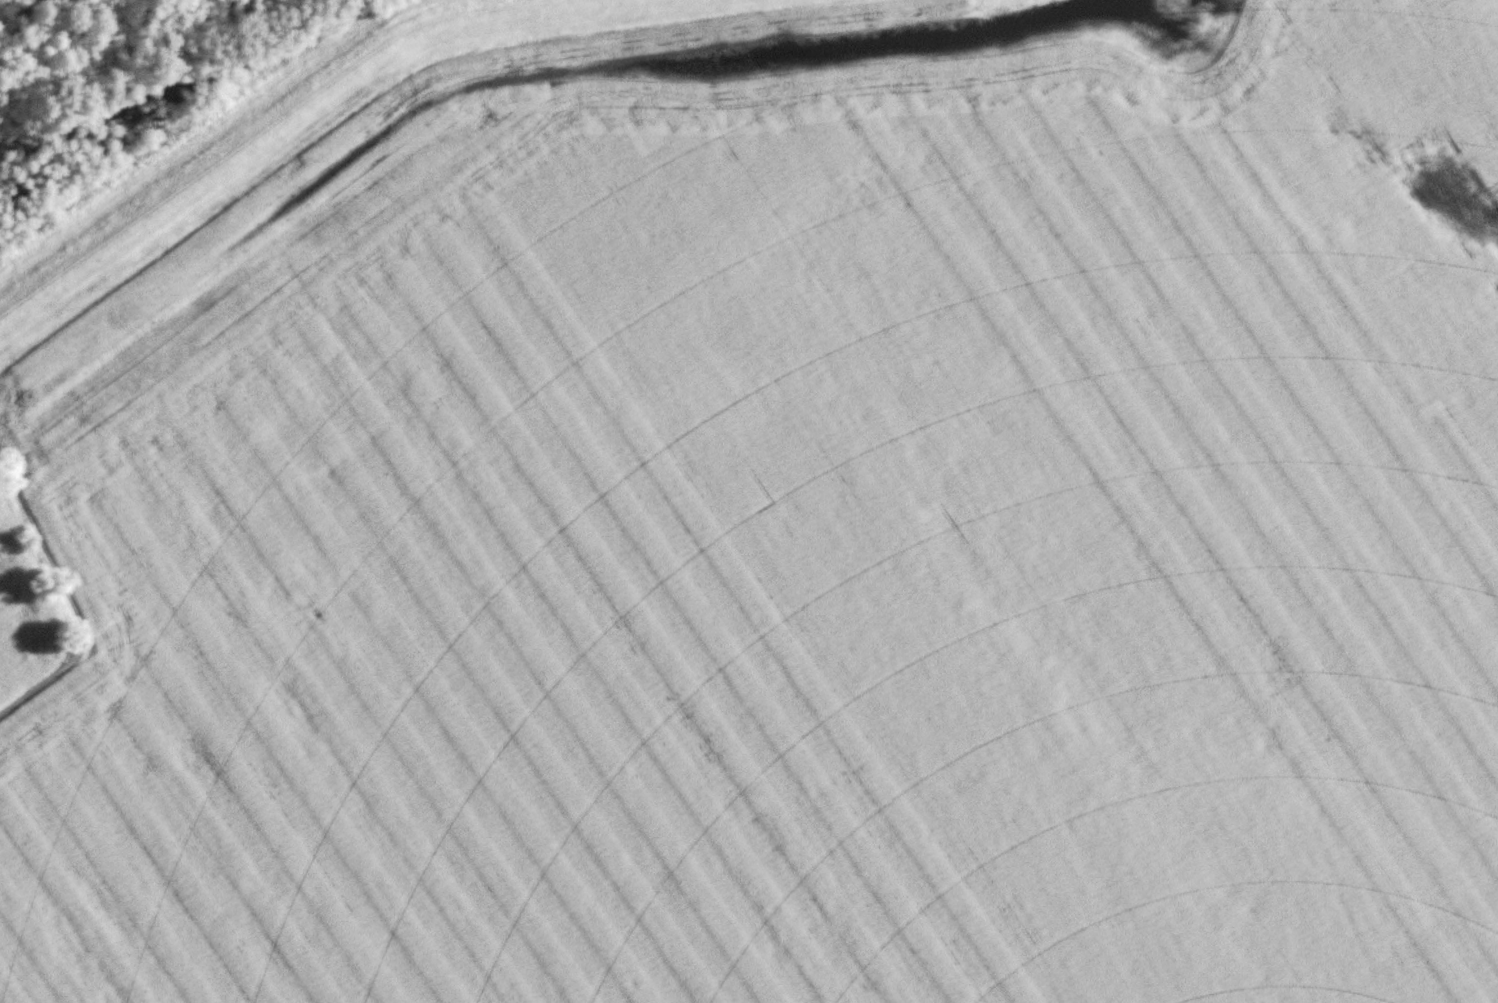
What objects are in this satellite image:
road: (33, 689)

